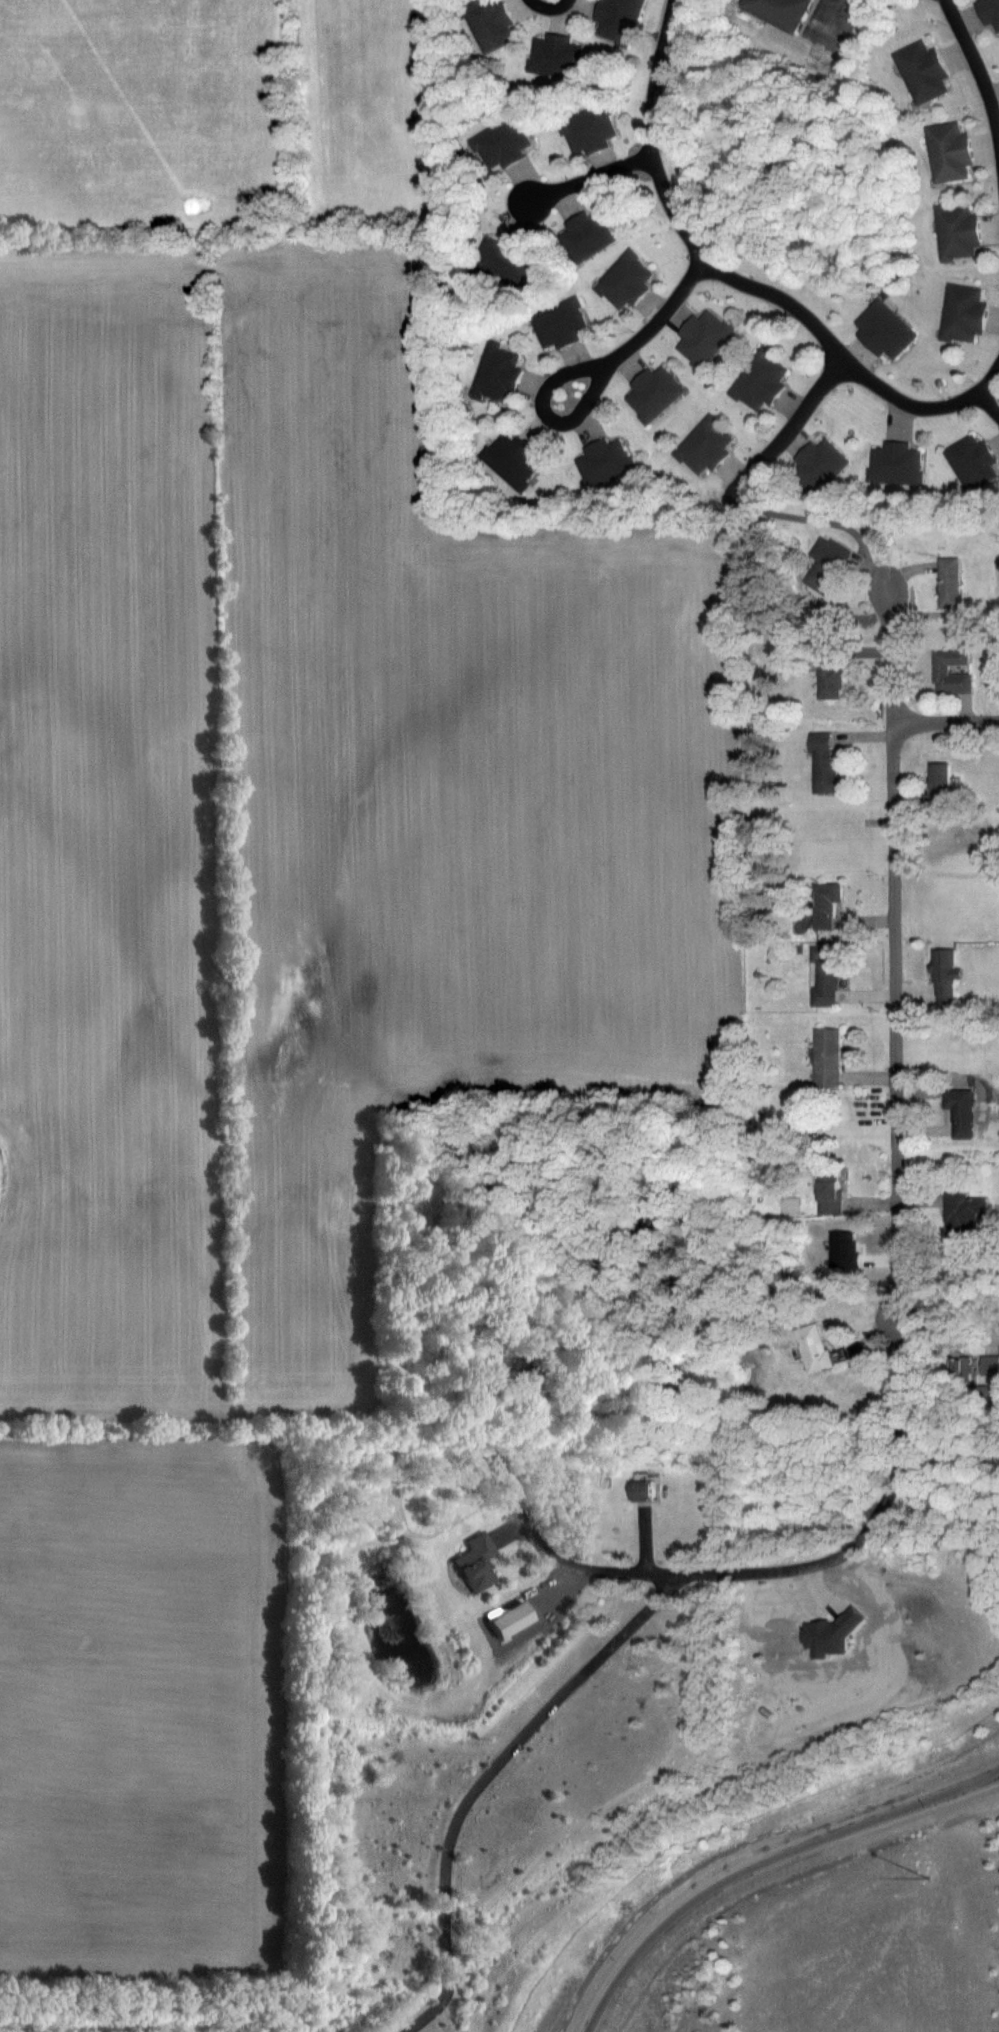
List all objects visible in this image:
road: (548, 7)
building: (780, 12)
building: (989, 13)
building: (617, 20)
building: (490, 26)
building: (554, 56)
road: (976, 70)
building: (923, 71)
building: (588, 131)
building: (502, 145)
building: (949, 152)
road: (591, 176)
building: (957, 231)
building: (588, 236)
building: (505, 260)
building: (625, 281)
road: (740, 282)
building: (963, 312)
building: (560, 325)
building: (885, 330)
building: (702, 339)
road: (584, 368)
building: (497, 373)
building: (760, 380)
building: (653, 394)
road: (790, 425)
building: (705, 447)
building: (512, 460)
building: (604, 463)
building: (896, 463)
building: (973, 463)
building: (818, 466)
building: (826, 563)
building: (949, 581)
building: (951, 672)
building: (829, 677)
road: (945, 722)
building: (823, 764)
building: (940, 781)
crop: (266, 886)
building: (824, 903)
building: (824, 974)
building: (945, 975)
building: (827, 1056)
building: (961, 1110)
building: (831, 1188)
building: (962, 1211)
road: (897, 1248)
road: (948, 1339)
building: (813, 1347)
building: (990, 1364)
building: (963, 1366)
building: (989, 1396)
building: (644, 1485)
building: (476, 1562)
road: (488, 1776)
road: (978, 1777)
road: (762, 1860)

